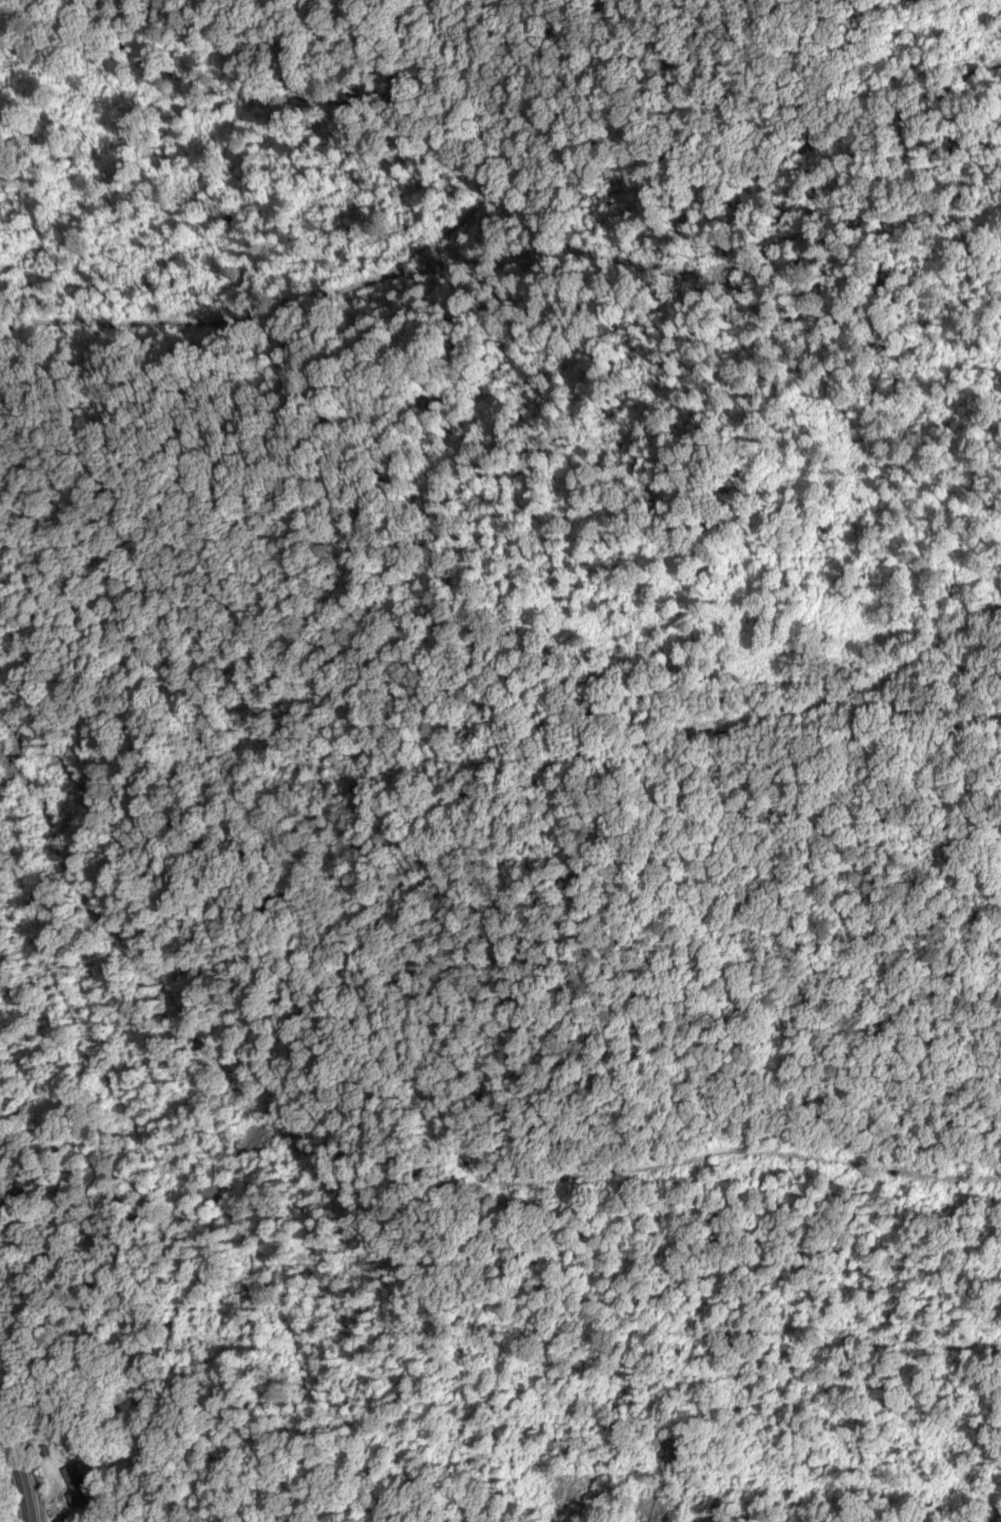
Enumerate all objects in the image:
road: (12, 1471)

